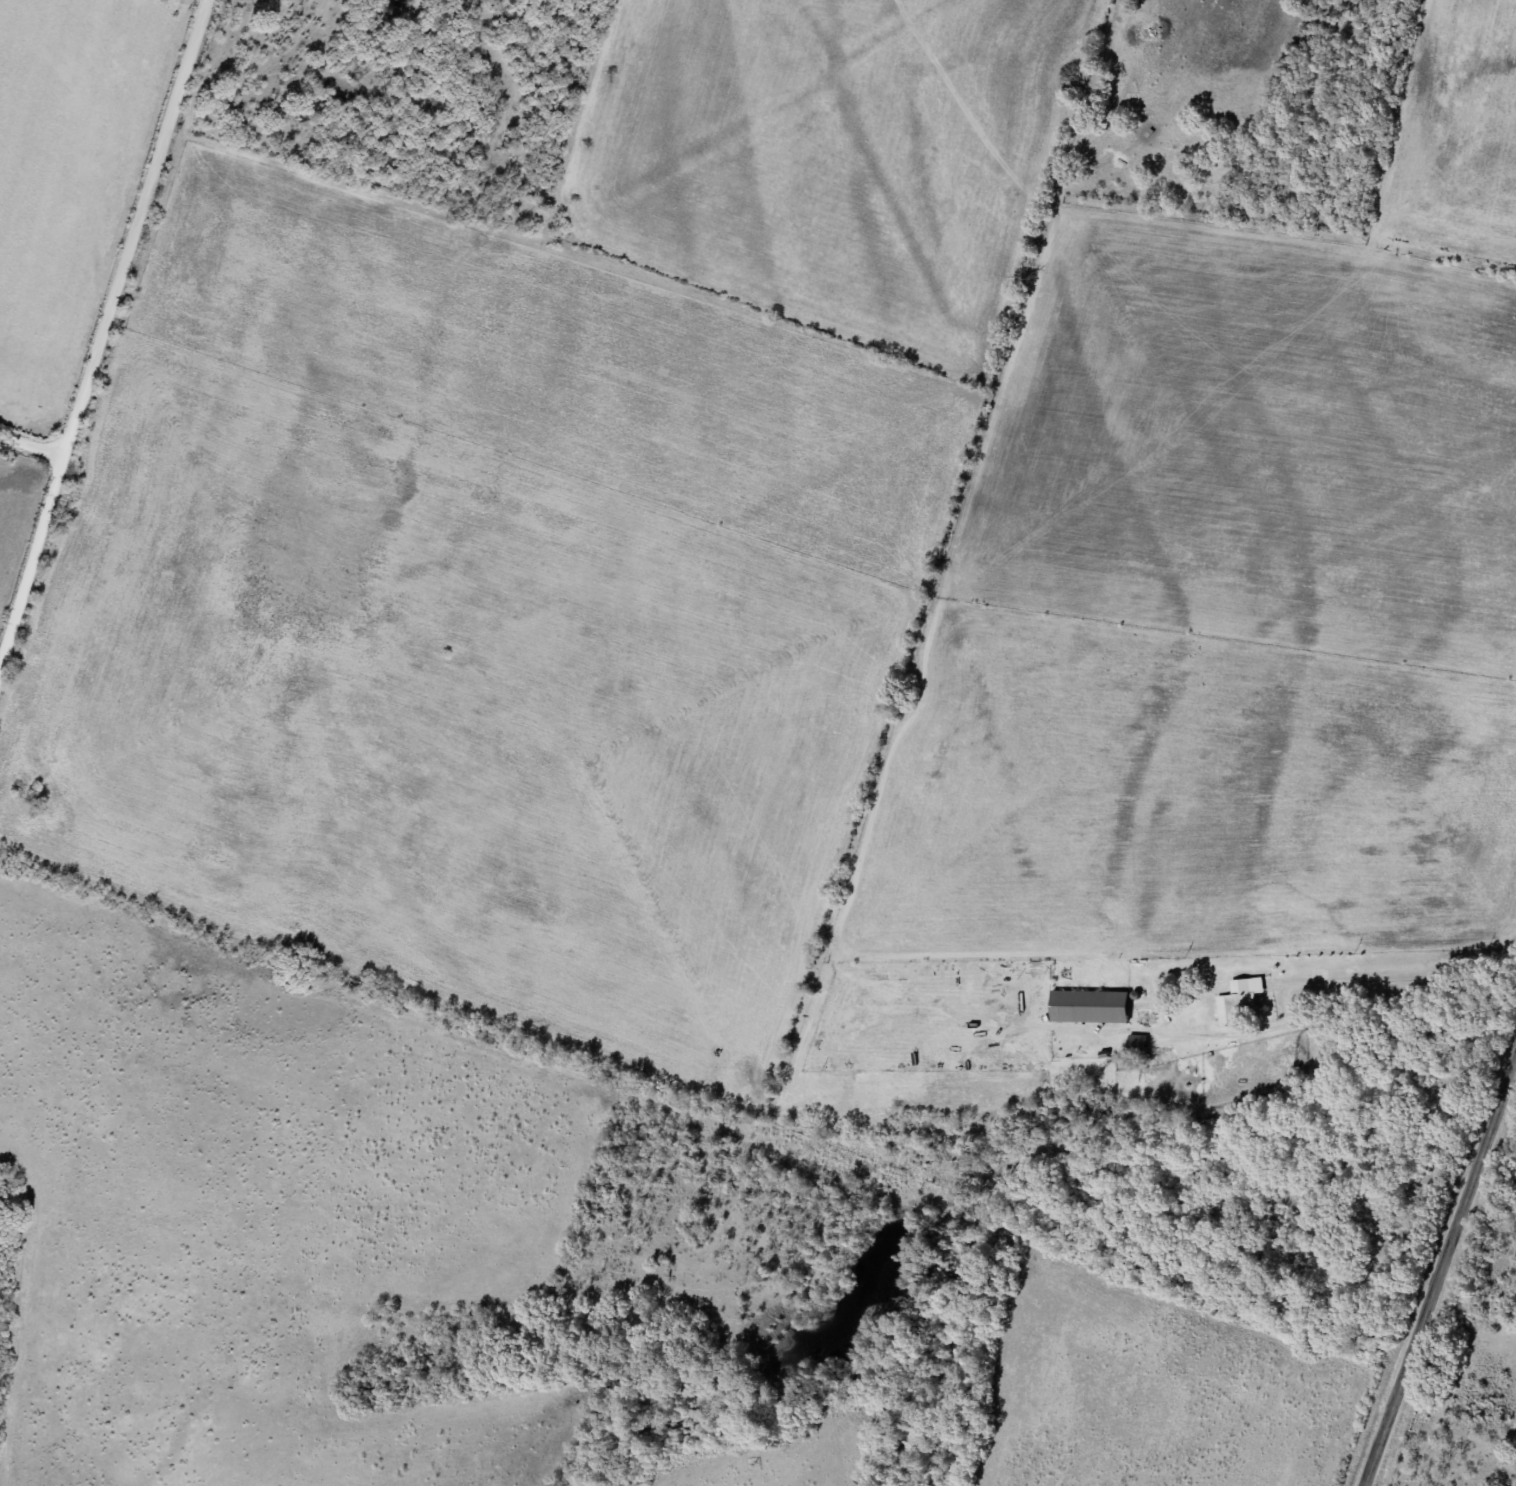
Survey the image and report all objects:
road: (104, 317)
road: (26, 401)
building: (1204, 997)
building: (1241, 1001)
building: (1091, 1006)
building: (1148, 1016)
building: (1139, 1043)
road: (1440, 1271)

